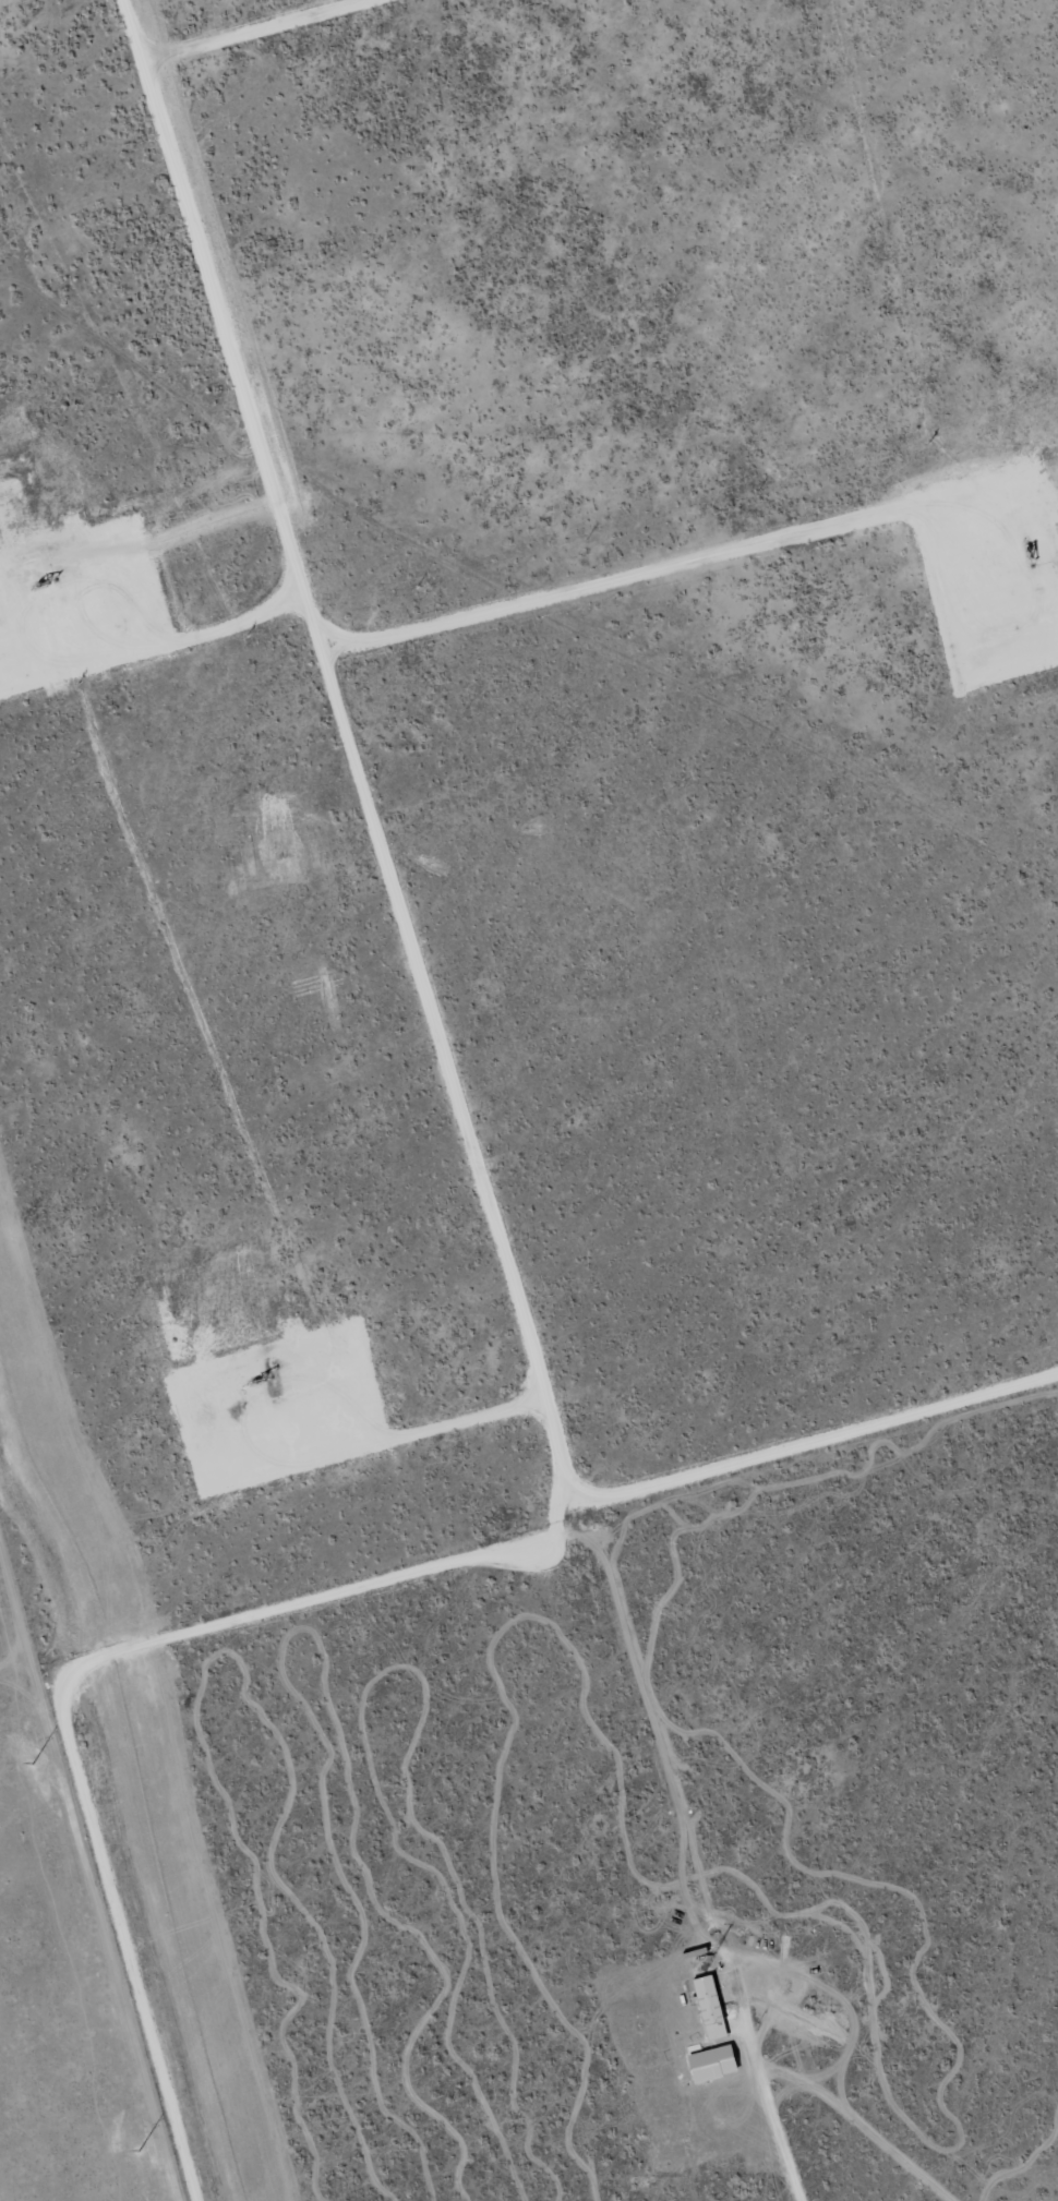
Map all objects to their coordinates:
road: (510, 585)
road: (457, 1100)
building: (709, 2008)
building: (709, 2065)

